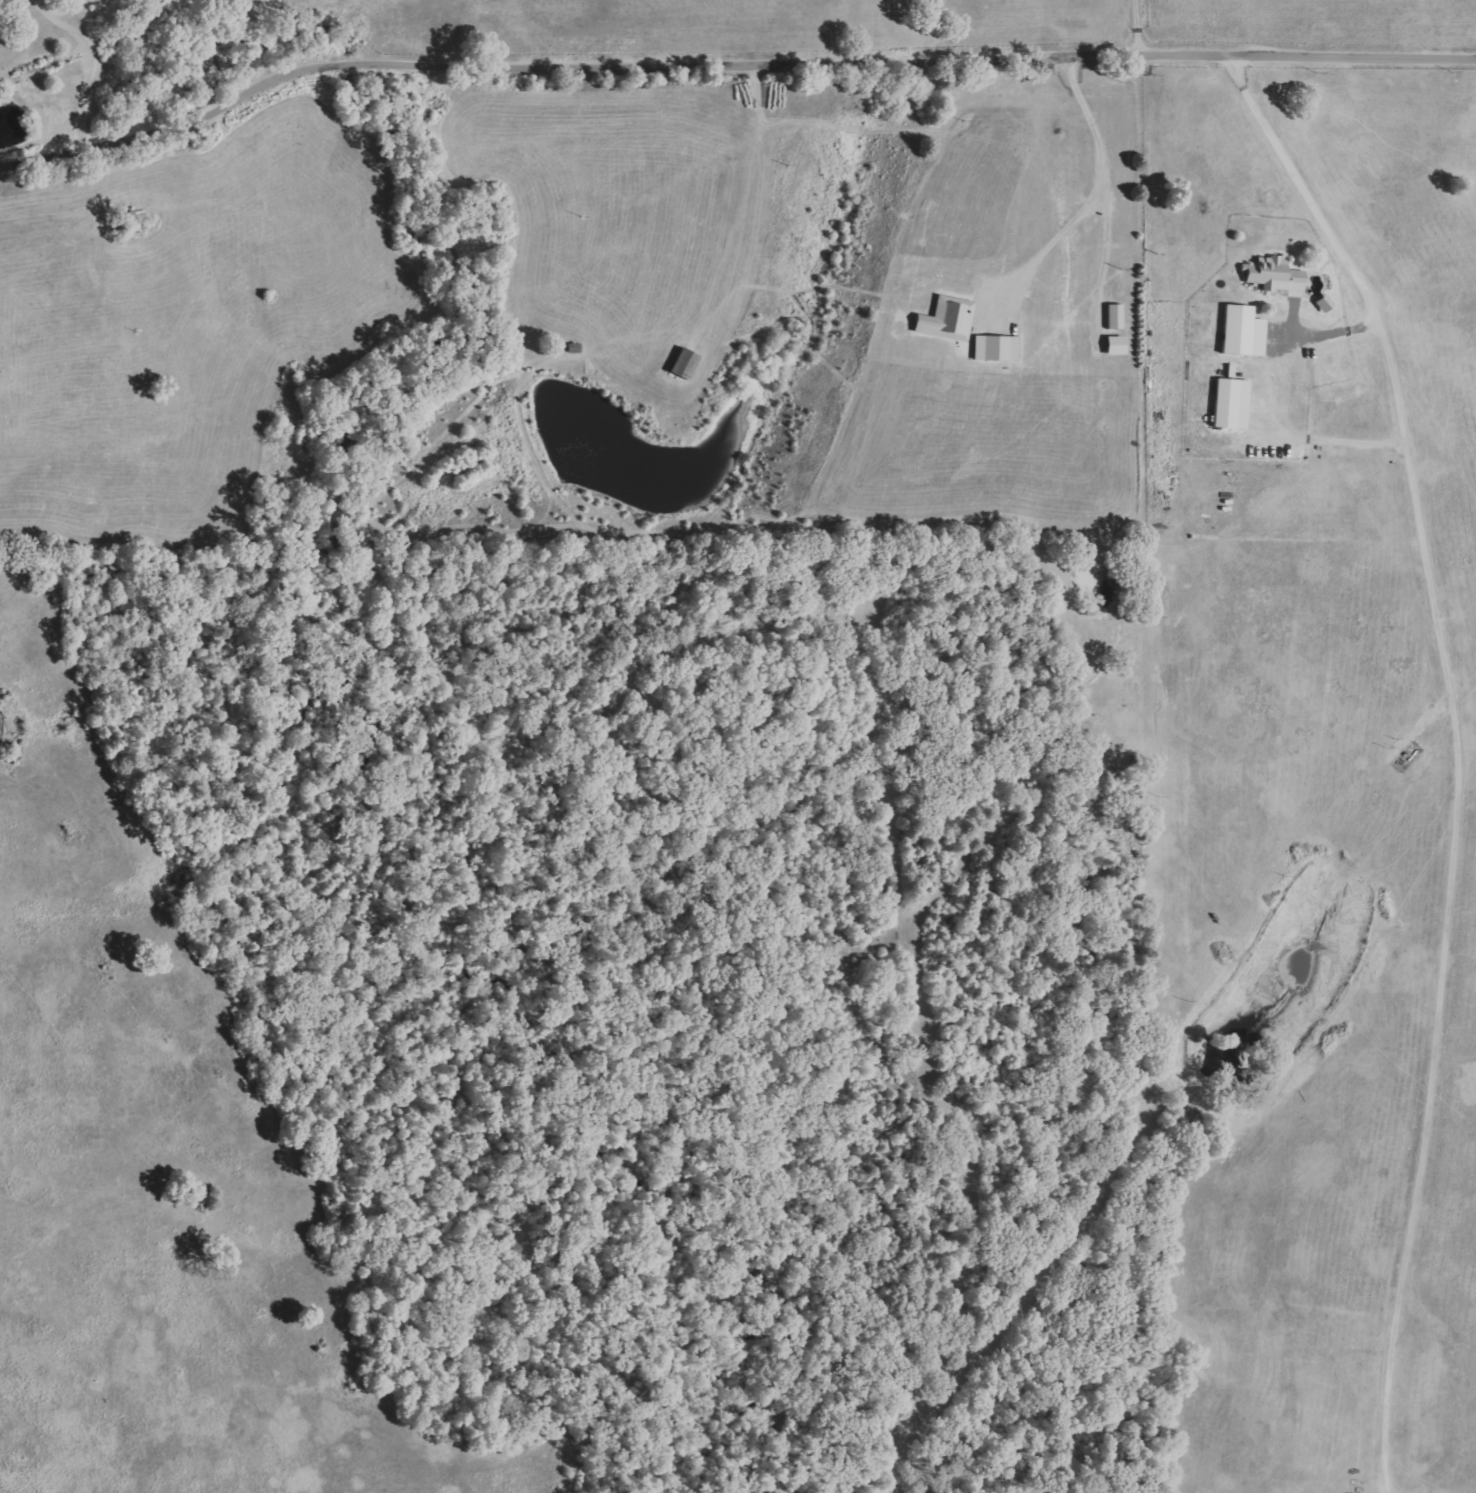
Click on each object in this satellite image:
road: (90, 66)
road: (728, 66)
road: (1330, 221)
building: (1274, 275)
building: (1115, 316)
building: (1243, 331)
building: (1115, 345)
building: (1231, 404)

